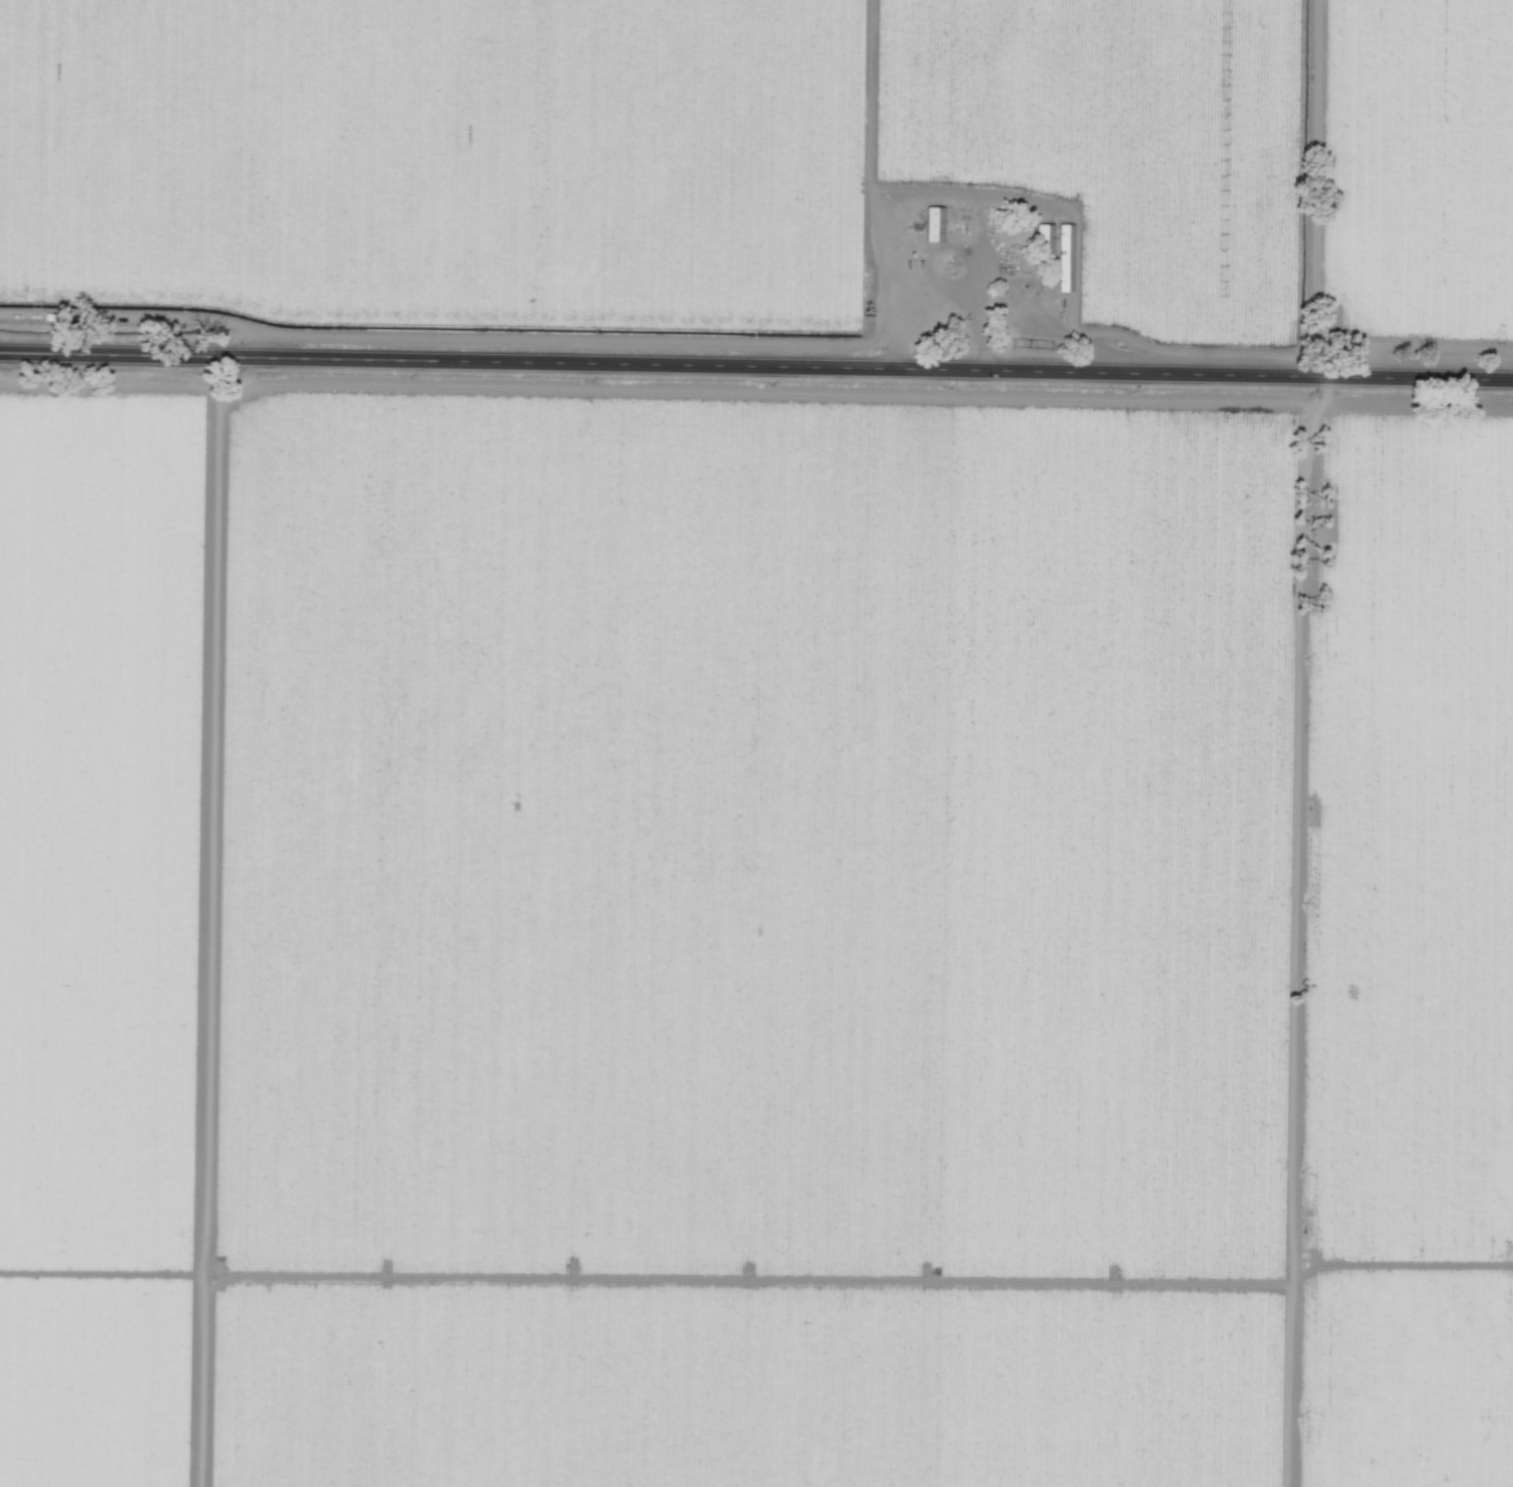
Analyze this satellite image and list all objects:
building: (936, 223)
building: (1067, 241)
road: (970, 270)
building: (1066, 278)
road: (939, 297)
road: (756, 363)

